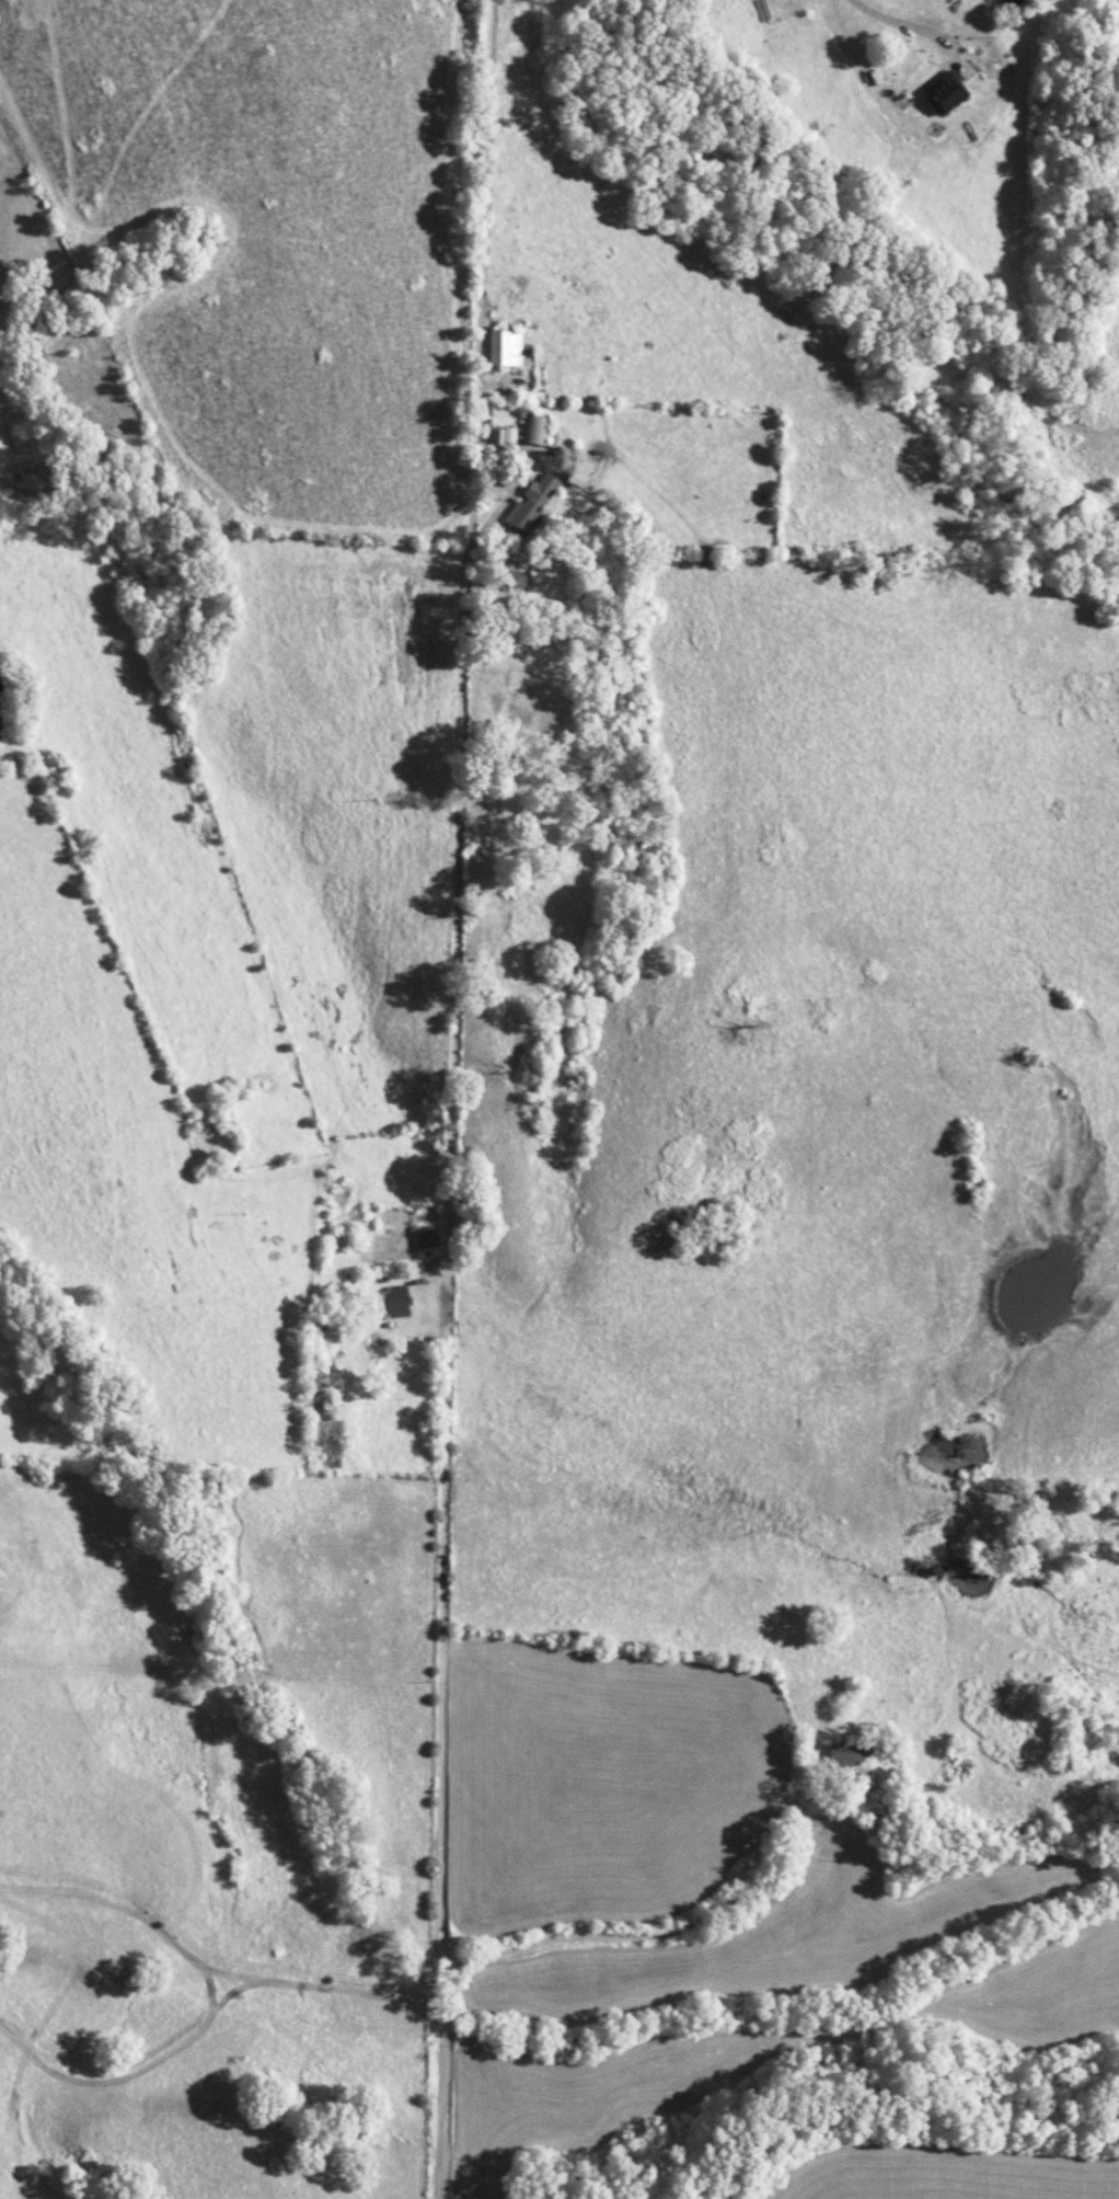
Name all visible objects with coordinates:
road: (907, 26)
building: (943, 93)
road: (481, 267)
building: (504, 348)
building: (532, 428)
building: (530, 502)
building: (424, 1238)
building: (395, 1302)
road: (452, 1366)
building: (843, 1754)
road: (683, 1938)
road: (216, 1972)
road: (206, 1988)
road: (226, 1993)
road: (105, 2080)

